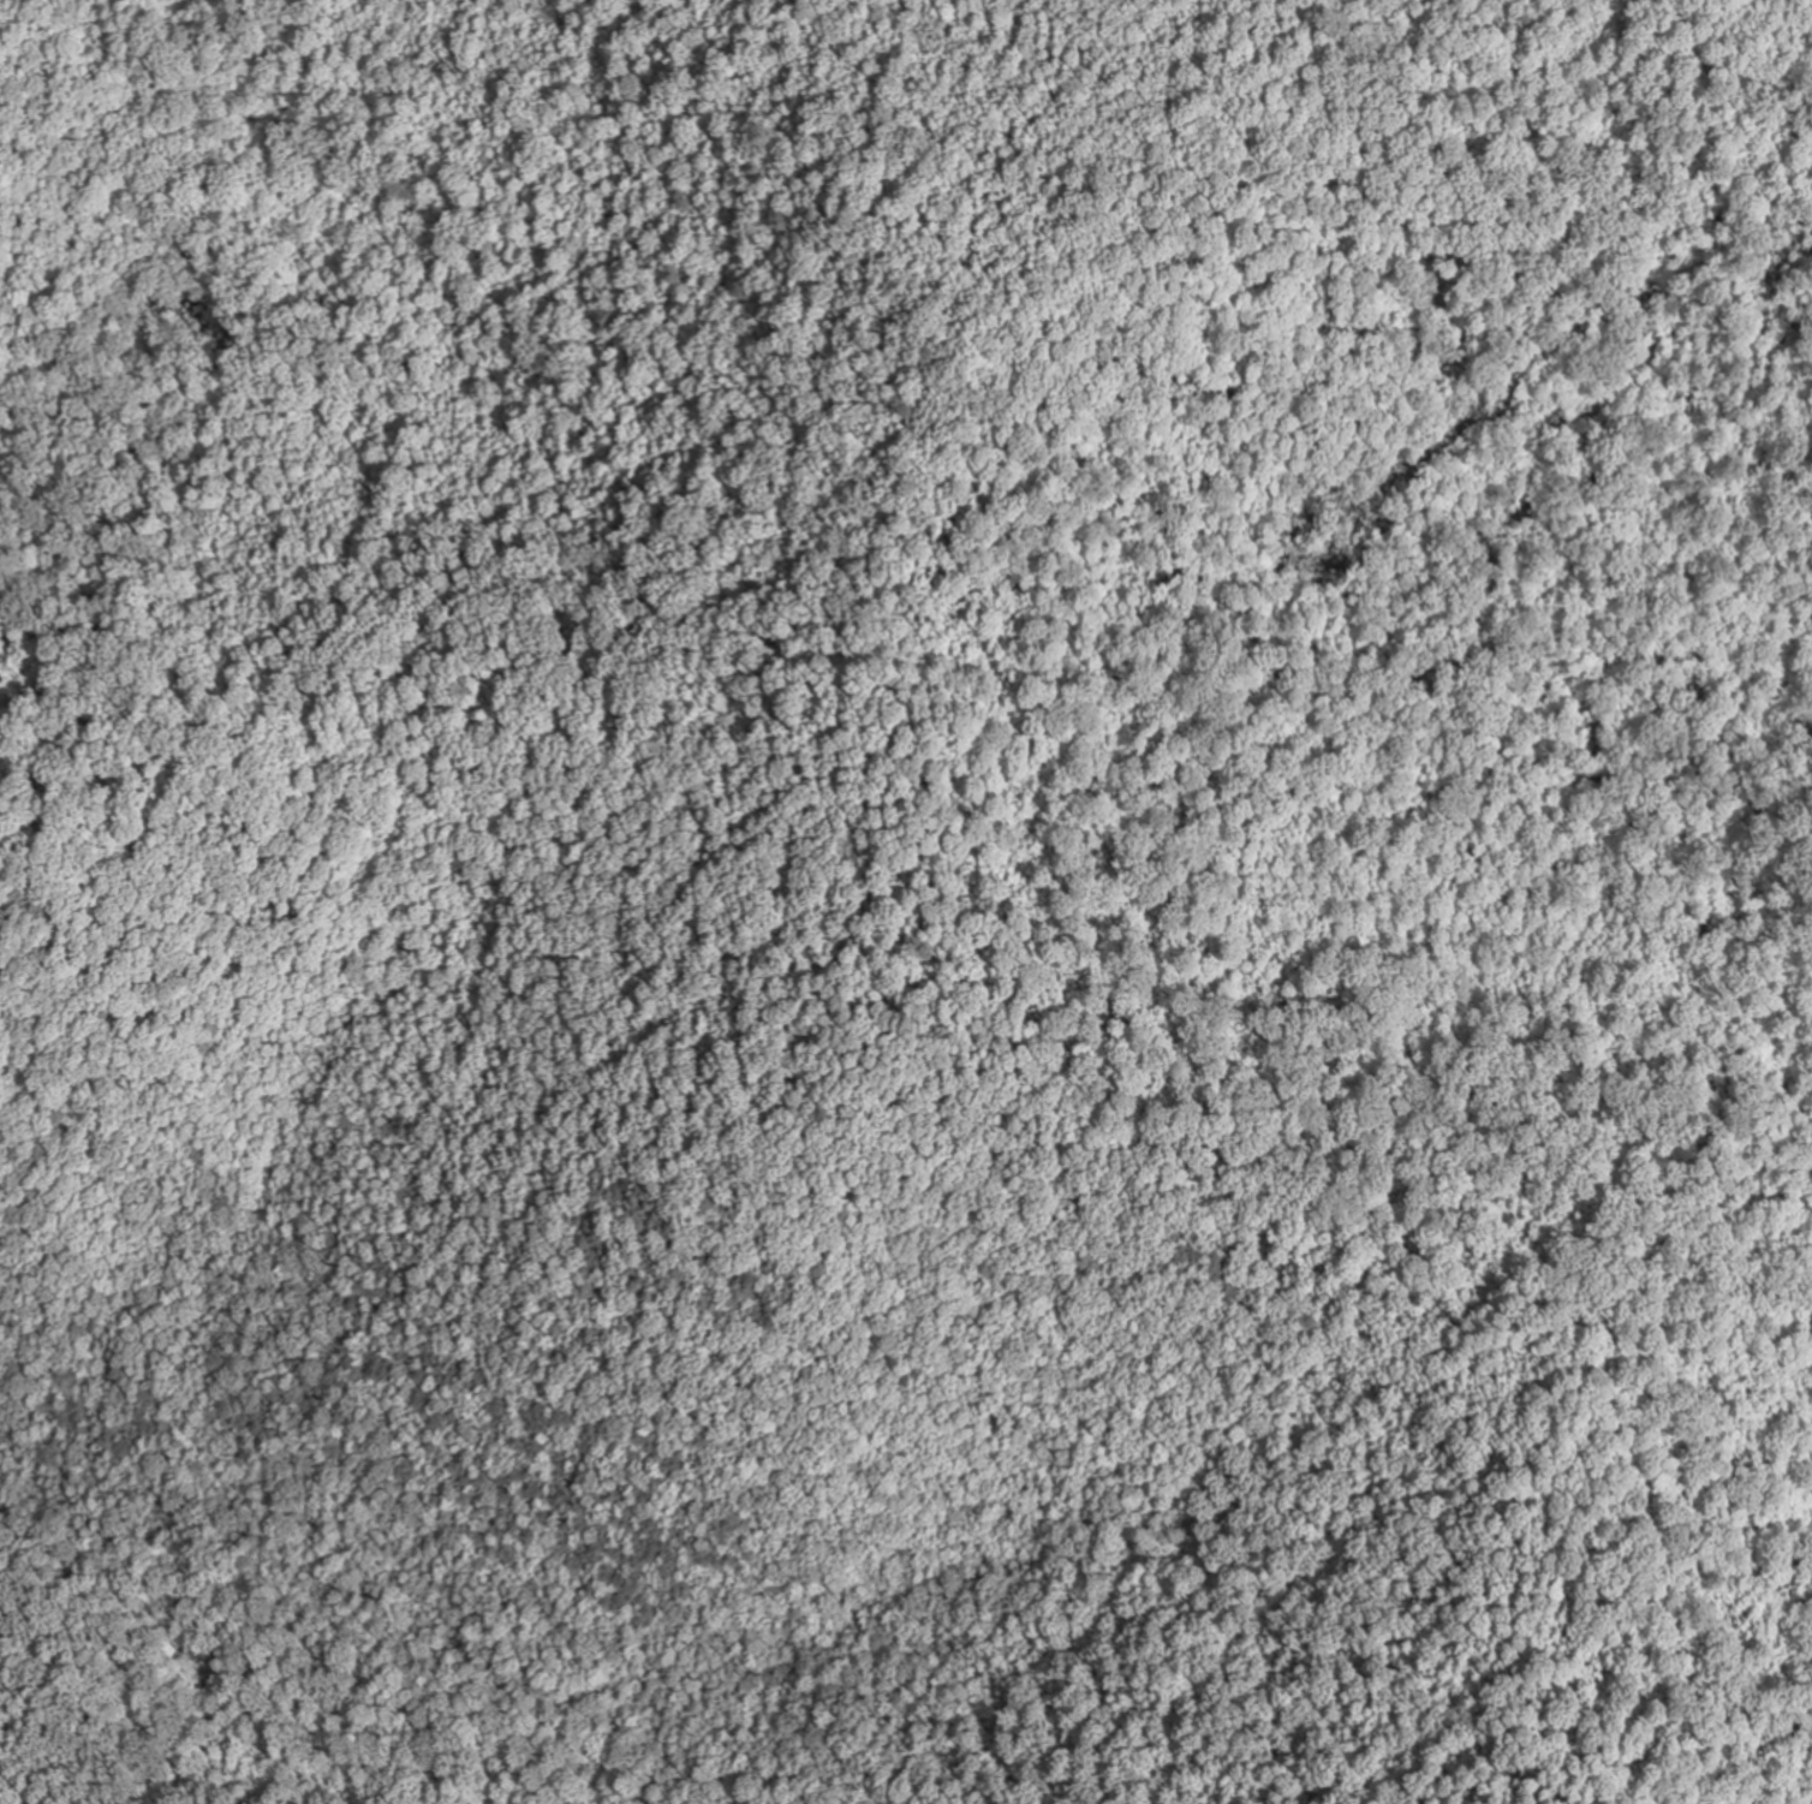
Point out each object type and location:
road: (1121, 873)

